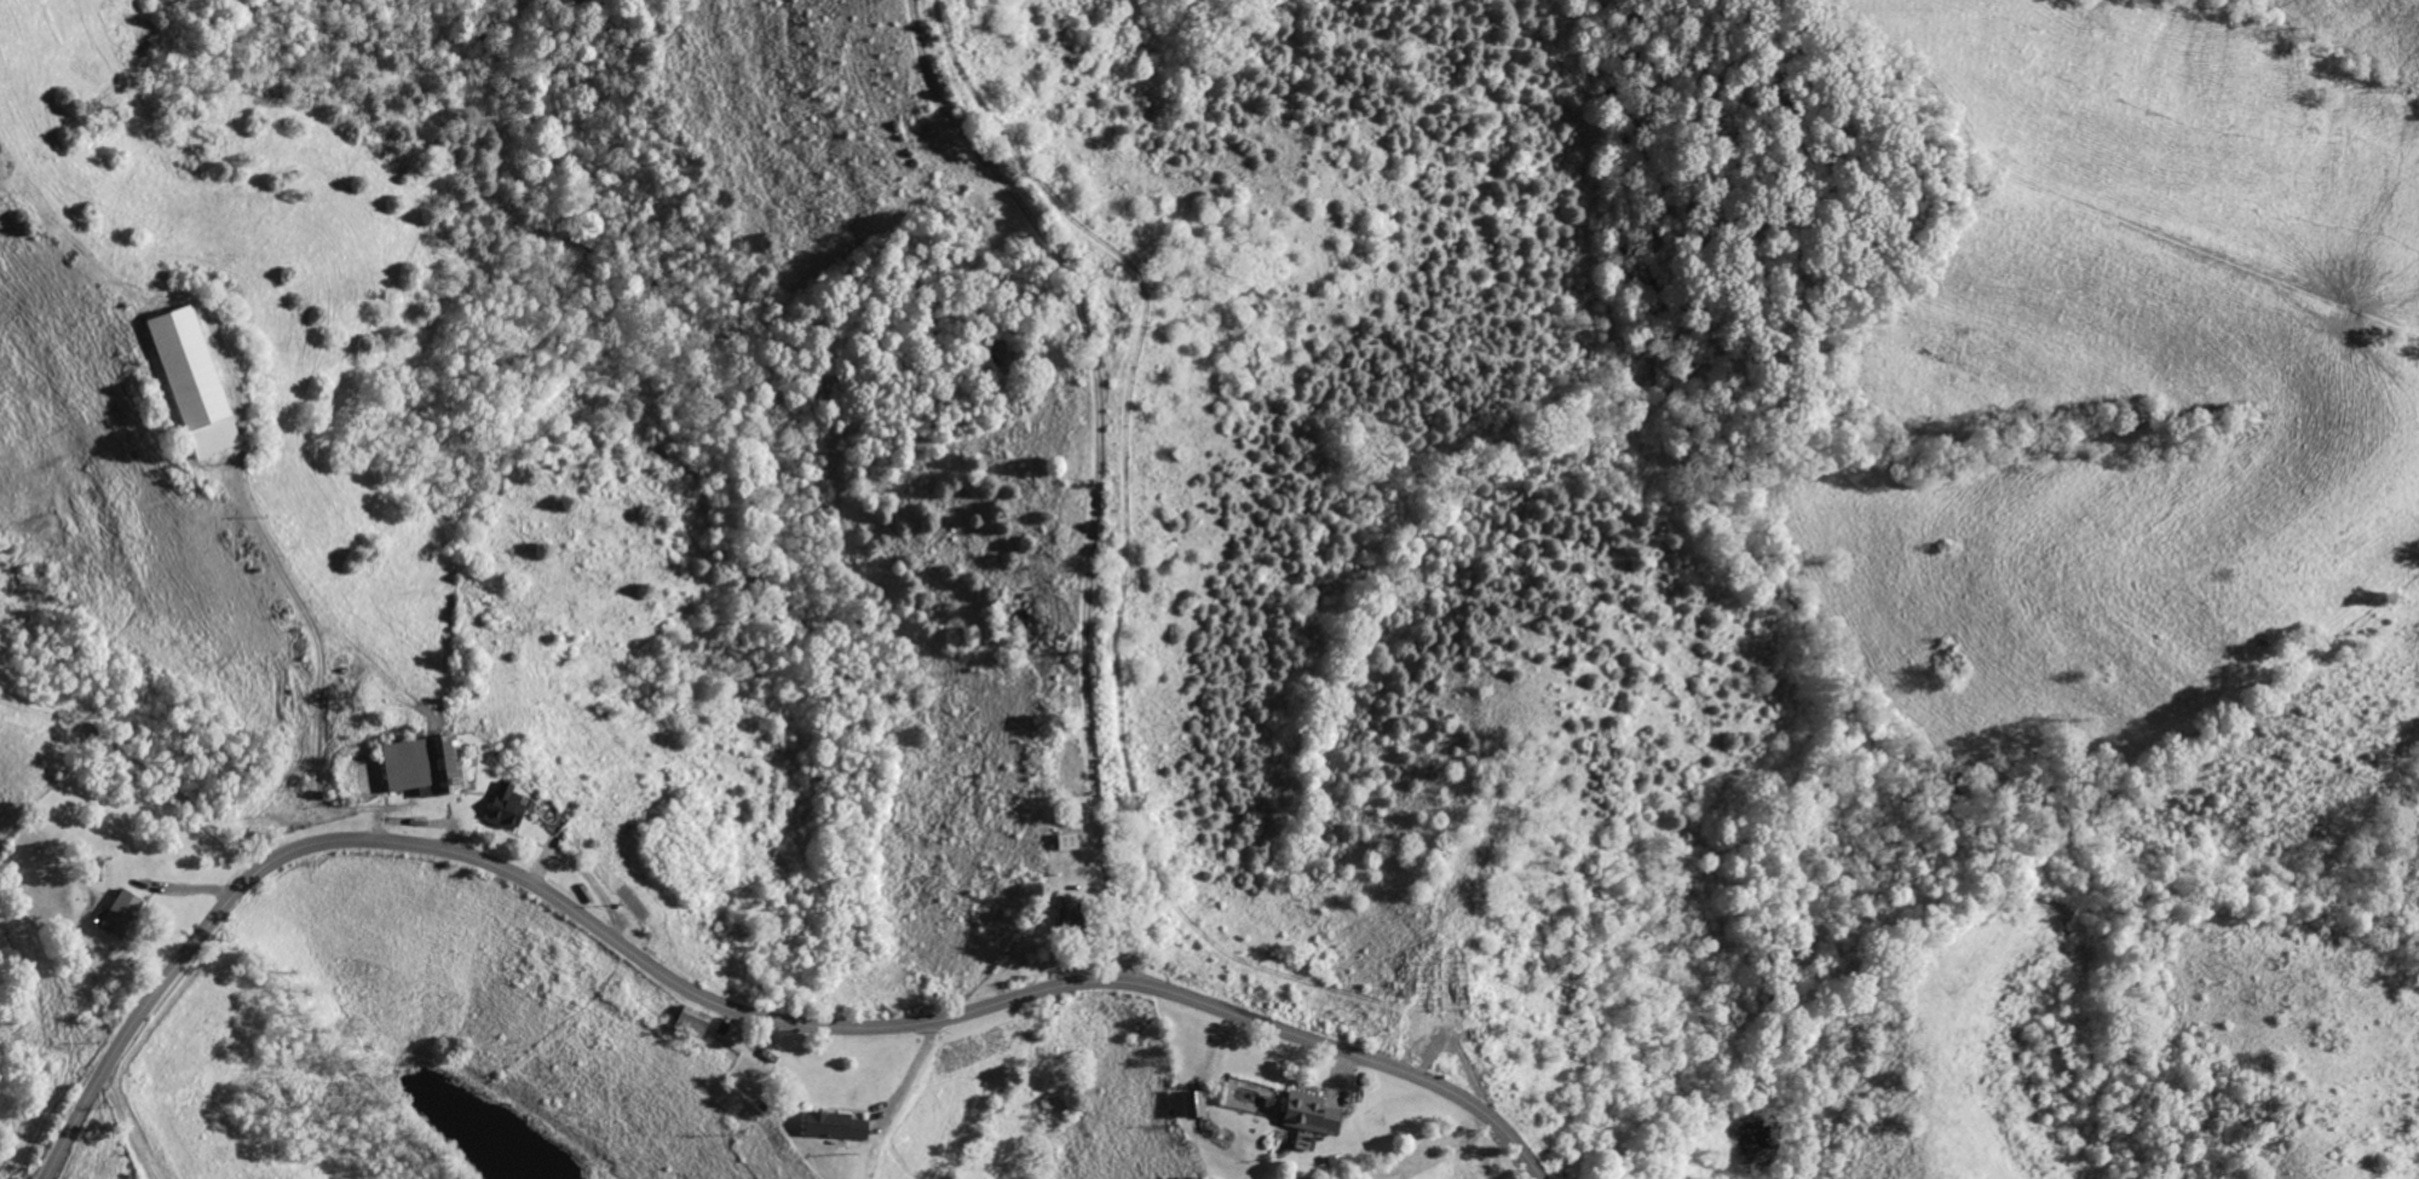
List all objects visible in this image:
building: (196, 382)
building: (427, 764)
building: (509, 808)
building: (1070, 843)
building: (1075, 912)
building: (125, 913)
road: (716, 1002)
building: (1196, 1104)
building: (1312, 1117)
building: (836, 1125)

